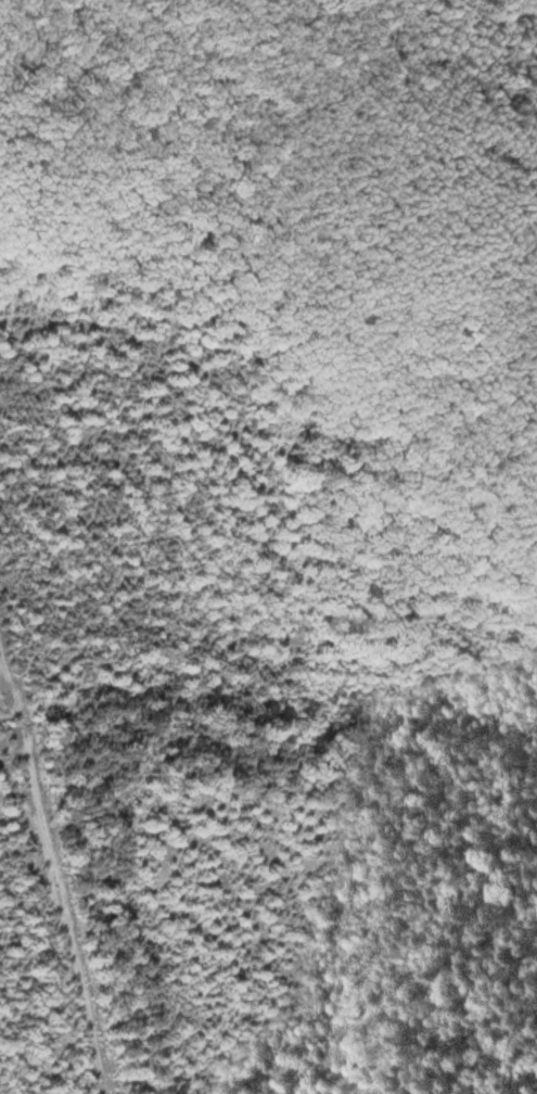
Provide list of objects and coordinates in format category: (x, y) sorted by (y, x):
road: (55, 857)

